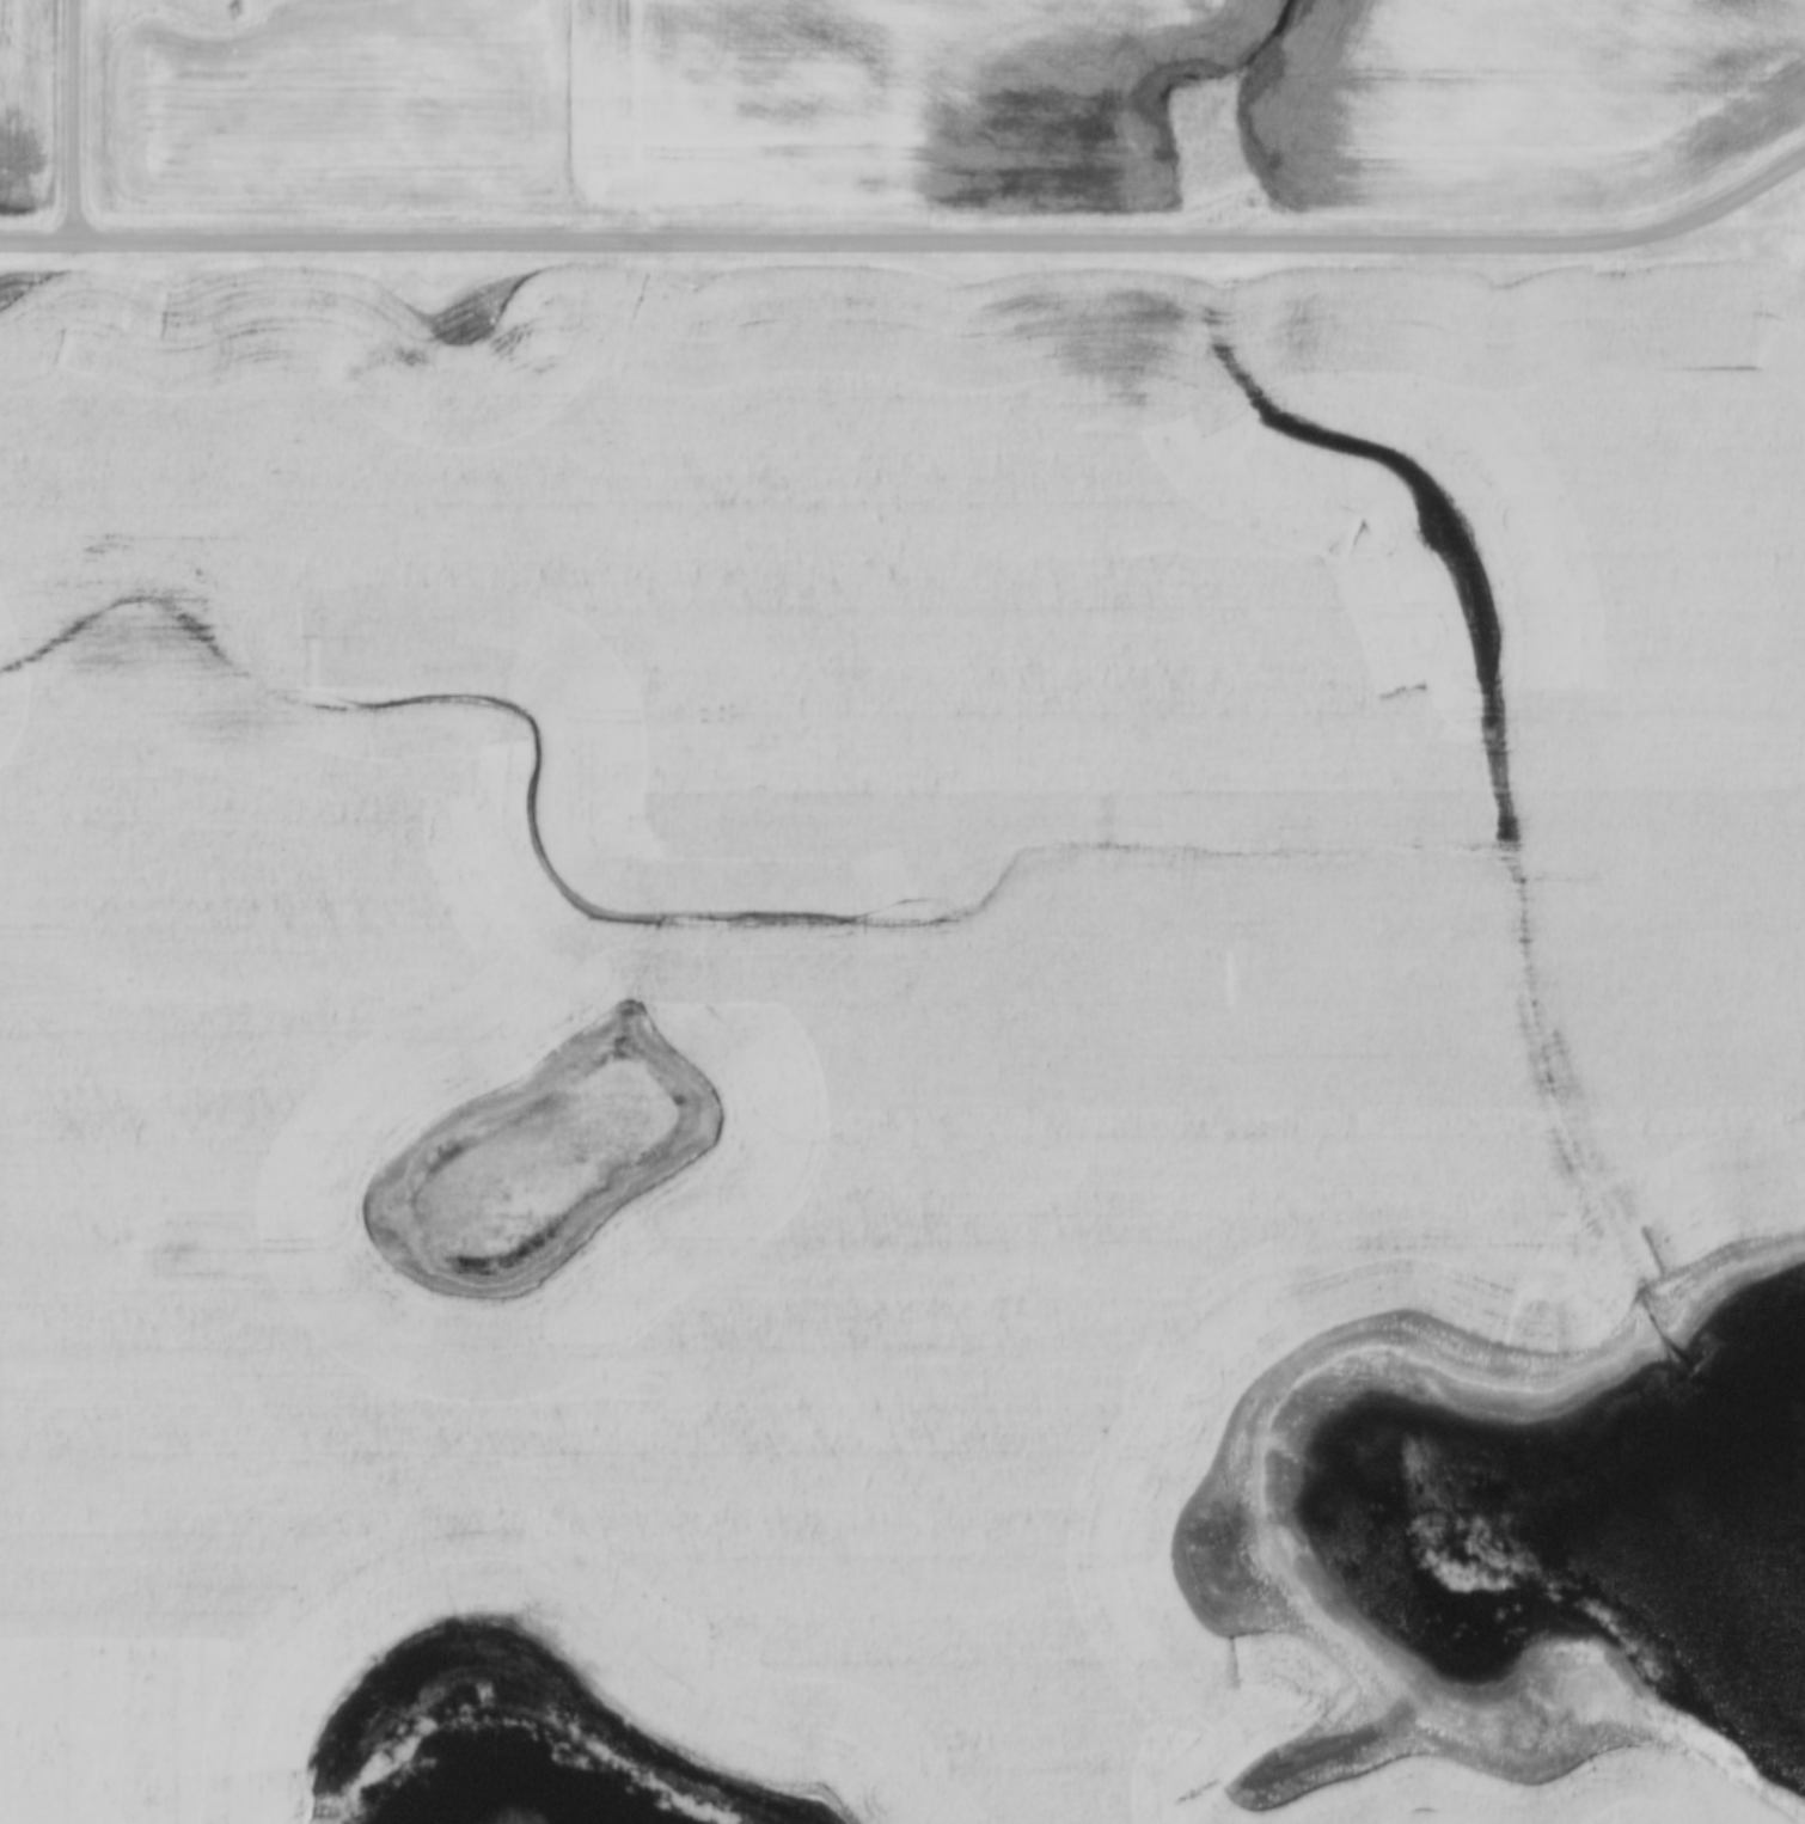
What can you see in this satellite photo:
road: (80, 123)
road: (912, 247)

